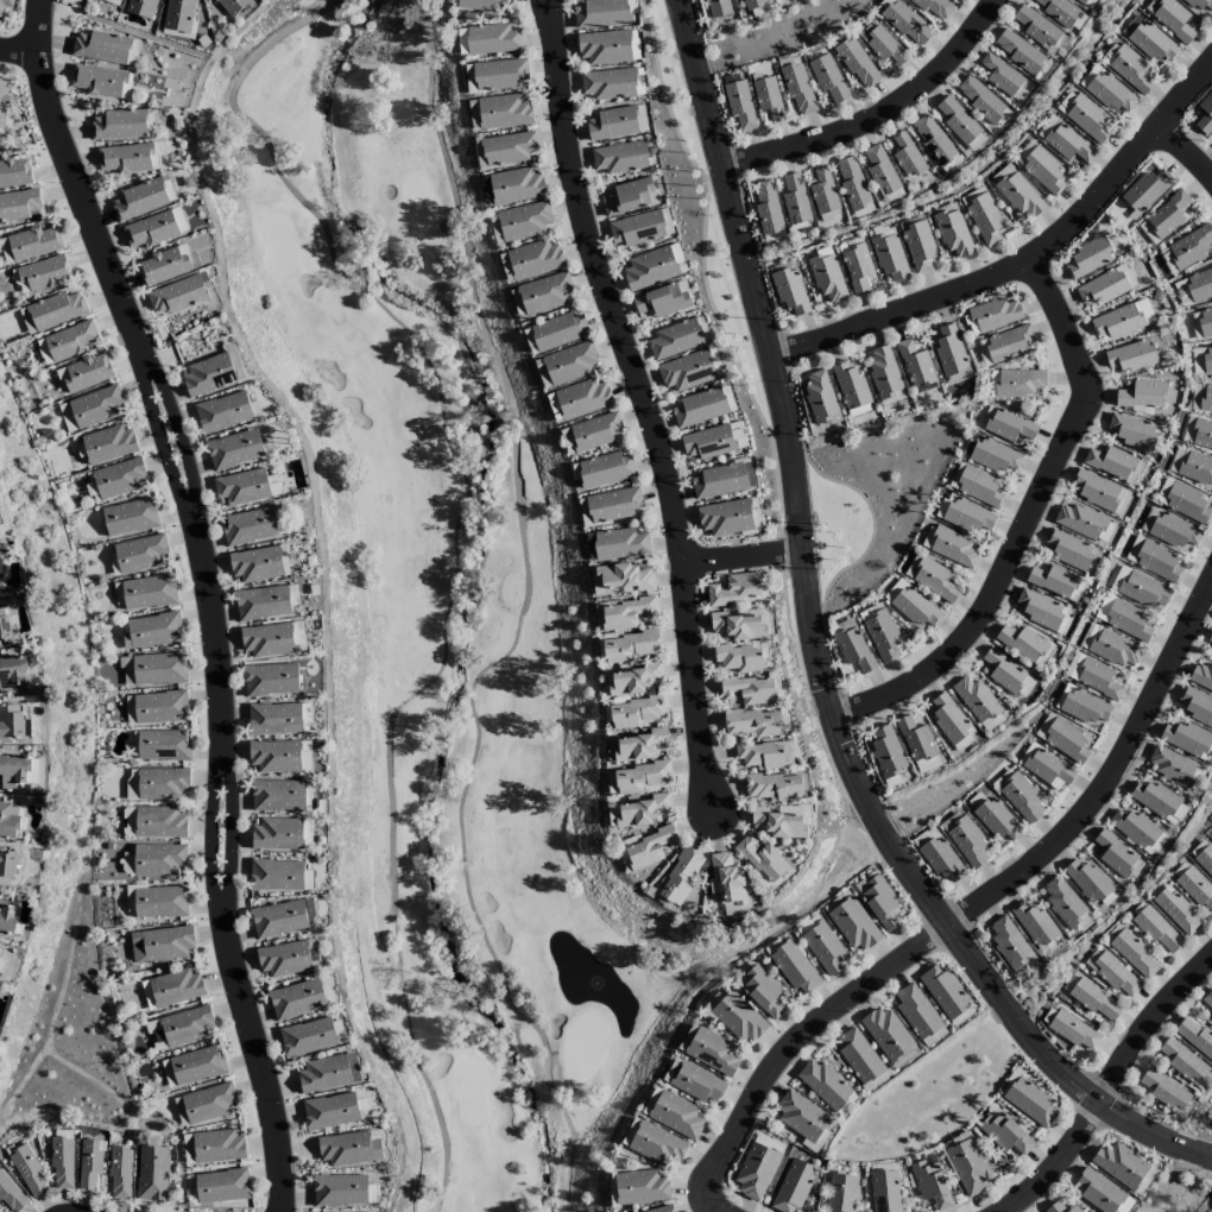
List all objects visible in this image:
building: (113, 1)
building: (1088, 2)
building: (753, 4)
building: (1198, 5)
building: (233, 6)
building: (4, 7)
building: (141, 7)
building: (935, 7)
building: (718, 8)
building: (1056, 10)
building: (605, 13)
building: (178, 15)
building: (1173, 20)
building: (907, 24)
building: (1131, 25)
building: (1037, 29)
building: (492, 39)
building: (1153, 42)
building: (883, 44)
building: (633, 45)
building: (101, 46)
building: (604, 48)
road: (18, 51)
building: (1018, 52)
building: (858, 63)
building: (1128, 68)
building: (499, 74)
building: (999, 75)
building: (1088, 76)
building: (828, 77)
building: (101, 81)
building: (639, 81)
building: (607, 84)
building: (798, 89)
building: (1112, 93)
building: (768, 97)
building: (980, 99)
building: (4, 100)
building: (739, 105)
building: (503, 112)
road: (878, 112)
building: (1205, 114)
building: (1085, 118)
building: (612, 124)
building: (960, 124)
building: (119, 125)
building: (933, 139)
building: (1063, 140)
building: (1211, 141)
building: (509, 147)
road: (1188, 151)
building: (907, 157)
building: (128, 158)
building: (619, 158)
building: (1041, 168)
building: (14, 172)
building: (882, 173)
building: (1002, 173)
building: (852, 183)
building: (516, 185)
building: (168, 188)
building: (1144, 191)
building: (823, 195)
building: (1020, 195)
building: (631, 197)
building: (138, 200)
building: (795, 200)
building: (18, 204)
building: (766, 207)
building: (981, 215)
building: (1168, 215)
building: (178, 219)
building: (524, 221)
building: (665, 221)
building: (637, 228)
building: (150, 229)
building: (953, 233)
building: (1148, 233)
building: (33, 242)
building: (919, 246)
building: (1186, 250)
building: (5, 251)
building: (889, 257)
building: (677, 258)
building: (1088, 258)
building: (535, 259)
road: (1028, 260)
building: (163, 266)
building: (649, 269)
building: (857, 269)
building: (43, 272)
building: (826, 276)
building: (1198, 285)
building: (1103, 286)
building: (790, 289)
building: (178, 293)
building: (544, 293)
building: (663, 299)
building: (55, 310)
building: (991, 316)
building: (1122, 320)
building: (1204, 322)
building: (558, 332)
building: (70, 340)
building: (674, 340)
building: (1008, 343)
building: (948, 351)
building: (1131, 356)
building: (1201, 360)
building: (569, 362)
building: (915, 364)
building: (690, 370)
building: (87, 372)
building: (883, 372)
building: (208, 374)
building: (1018, 383)
building: (850, 385)
building: (1142, 394)
building: (1201, 397)
building: (582, 398)
building: (727, 398)
building: (819, 398)
road: (648, 404)
building: (95, 406)
building: (700, 408)
building: (222, 411)
building: (67, 418)
building: (1009, 425)
building: (595, 431)
building: (1132, 431)
building: (1197, 433)
building: (567, 441)
building: (714, 441)
building: (107, 443)
building: (234, 449)
building: (995, 456)
building: (1111, 462)
building: (1192, 466)
building: (605, 469)
building: (119, 478)
building: (719, 481)
building: (245, 487)
building: (979, 487)
building: (1099, 491)
building: (1183, 501)
building: (610, 505)
building: (966, 516)
building: (130, 517)
building: (725, 517)
road: (1027, 520)
building: (1085, 523)
building: (250, 526)
building: (1169, 529)
building: (0, 531)
building: (621, 543)
building: (951, 547)
building: (1069, 549)
building: (139, 554)
road: (744, 554)
building: (1153, 560)
building: (254, 564)
building: (1, 569)
building: (624, 576)
building: (932, 577)
building: (1053, 581)
building: (1140, 588)
building: (736, 589)
building: (149, 592)
road: (209, 594)
building: (263, 602)
building: (913, 605)
building: (1042, 611)
building: (626, 614)
building: (1128, 619)
park: (443, 623)
building: (8, 625)
building: (737, 626)
building: (152, 631)
building: (879, 632)
building: (1210, 638)
building: (267, 639)
building: (1022, 643)
building: (0, 645)
building: (630, 646)
building: (1109, 646)
building: (853, 649)
road: (816, 650)
building: (739, 658)
building: (159, 668)
building: (127, 670)
building: (12, 673)
building: (1008, 674)
building: (1092, 676)
building: (1201, 676)
building: (271, 678)
building: (633, 681)
building: (750, 690)
building: (976, 699)
building: (1197, 706)
building: (160, 707)
building: (1084, 707)
building: (130, 709)
building: (638, 712)
building: (305, 717)
building: (274, 719)
building: (11, 722)
building: (753, 722)
building: (952, 722)
building: (991, 722)
building: (1062, 738)
building: (1186, 738)
building: (916, 739)
building: (162, 745)
building: (640, 745)
building: (760, 755)
building: (886, 755)
building: (273, 756)
building: (305, 756)
building: (928, 764)
building: (1172, 766)
building: (1044, 768)
building: (13, 771)
building: (642, 777)
road: (1109, 777)
building: (163, 783)
building: (611, 783)
building: (131, 784)
building: (774, 787)
building: (278, 795)
building: (1018, 795)
building: (1159, 801)
building: (640, 812)
building: (995, 818)
building: (10, 820)
building: (153, 822)
building: (777, 823)
building: (1134, 827)
building: (1211, 833)
building: (277, 834)
building: (307, 834)
building: (924, 837)
building: (966, 840)
building: (648, 847)
building: (1116, 856)
building: (158, 859)
building: (763, 859)
building: (941, 859)
building: (1205, 859)
building: (6, 866)
building: (276, 875)
building: (680, 876)
building: (728, 878)
building: (1091, 884)
building: (1194, 885)
building: (130, 898)
building: (160, 902)
building: (835, 902)
building: (879, 902)
building: (1063, 902)
building: (1176, 911)
building: (6, 917)
building: (278, 919)
building: (853, 924)
building: (1036, 927)
building: (1156, 929)
building: (1008, 942)
building: (160, 943)
building: (825, 949)
building: (1132, 953)
building: (284, 959)
road: (905, 960)
building: (1, 962)
building: (794, 967)
building: (1116, 976)
building: (171, 989)
building: (760, 991)
building: (942, 991)
building: (296, 999)
building: (1094, 1000)
building: (1207, 1000)
building: (916, 1011)
building: (739, 1018)
road: (1150, 1024)
building: (187, 1025)
building: (1074, 1031)
building: (886, 1034)
building: (934, 1036)
building: (1195, 1036)
building: (307, 1037)
building: (714, 1052)
building: (858, 1056)
building: (1183, 1061)
building: (192, 1066)
building: (327, 1073)
building: (697, 1084)
building: (1006, 1084)
building: (823, 1085)
road: (764, 1087)
building: (1163, 1090)
building: (651, 1101)
building: (208, 1103)
building: (1031, 1103)
building: (330, 1111)
building: (676, 1116)
building: (800, 1116)
building: (630, 1132)
building: (1004, 1132)
building: (955, 1141)
building: (815, 1142)
building: (657, 1145)
building: (217, 1147)
building: (349, 1148)
road: (1054, 1157)
building: (62, 1163)
building: (89, 1163)
building: (1119, 1164)
building: (968, 1167)
building: (755, 1170)
building: (29, 1172)
building: (119, 1173)
building: (152, 1173)
building: (1144, 1181)
building: (930, 1182)
building: (222, 1186)
building: (793, 1186)
building: (640, 1187)
building: (340, 1189)
building: (884, 1191)
building: (1097, 1191)
building: (841, 1193)
building: (11, 1195)
building: (1125, 1205)
building: (1060, 1208)
building: (661, 1210)

